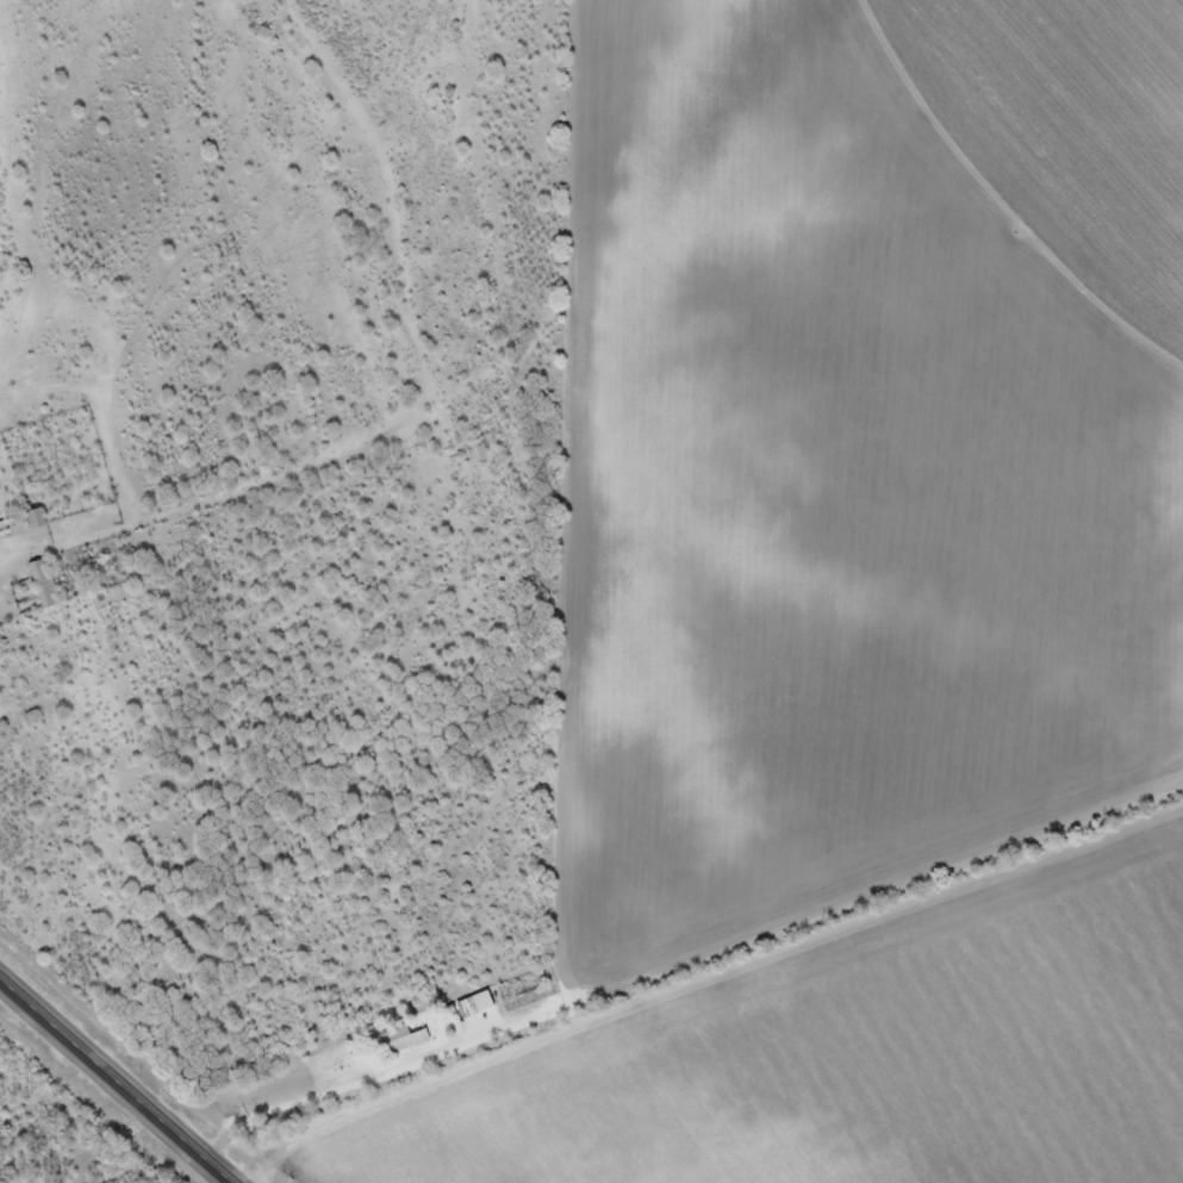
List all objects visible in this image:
road: (579, 312)
building: (19, 525)
building: (41, 584)
railway: (160, 1040)
building: (397, 1041)
road: (119, 1078)

